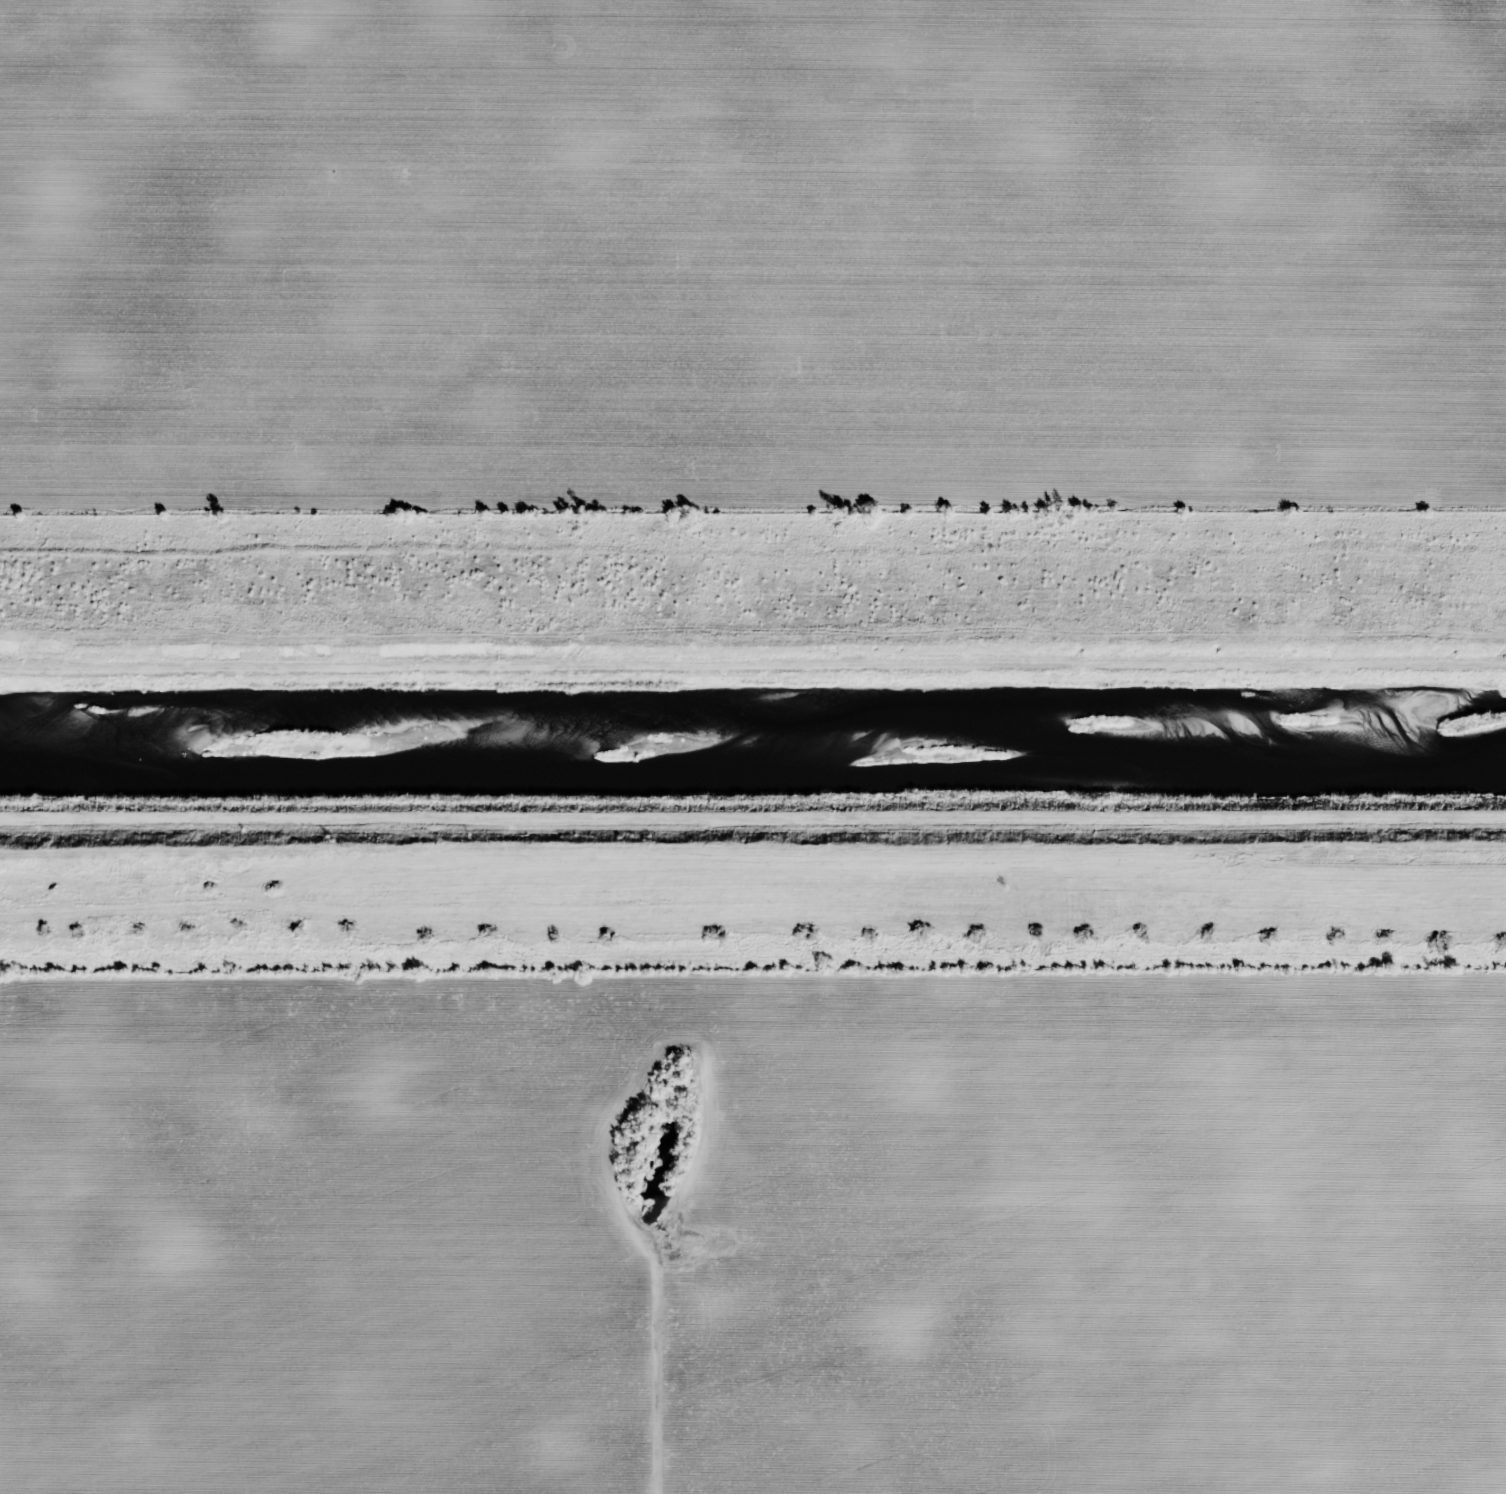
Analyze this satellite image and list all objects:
road: (1049, 1215)

